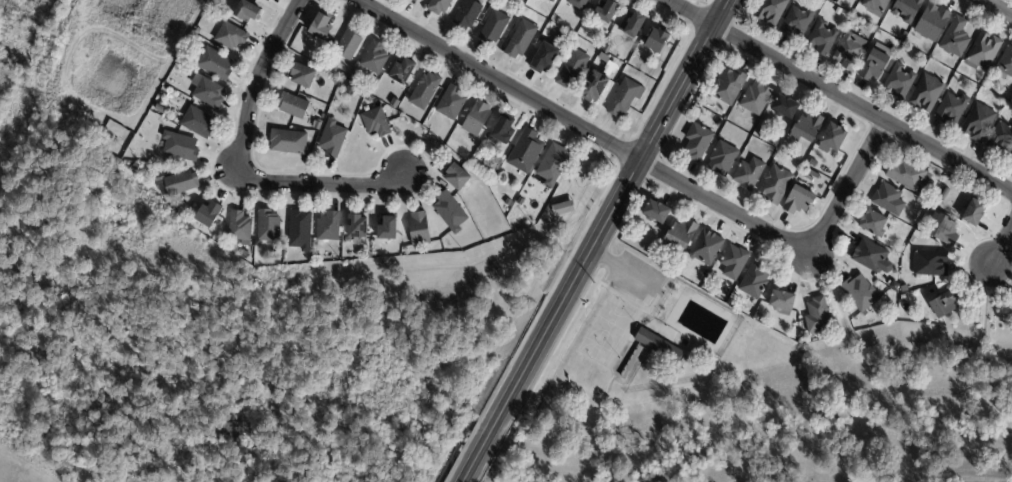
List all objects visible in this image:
building: (267, 0)
building: (551, 1)
building: (577, 3)
building: (875, 4)
building: (438, 6)
road: (997, 8)
building: (907, 9)
building: (771, 11)
building: (839, 11)
building: (247, 12)
building: (607, 12)
building: (467, 15)
building: (797, 21)
building: (854, 21)
building: (932, 23)
building: (633, 24)
building: (321, 27)
building: (493, 27)
building: (230, 36)
building: (822, 38)
building: (956, 38)
building: (521, 40)
building: (657, 40)
building: (348, 44)
building: (607, 49)
building: (850, 51)
building: (984, 52)
building: (603, 57)
building: (374, 58)
building: (544, 58)
building: (213, 63)
building: (1006, 64)
building: (874, 65)
building: (572, 68)
building: (403, 72)
building: (301, 75)
building: (343, 77)
building: (351, 81)
road: (497, 81)
building: (900, 81)
building: (729, 85)
building: (593, 87)
building: (424, 91)
building: (208, 92)
building: (927, 93)
road: (839, 97)
building: (623, 98)
building: (756, 98)
building: (167, 102)
building: (374, 102)
building: (451, 103)
building: (292, 106)
building: (784, 107)
building: (952, 108)
building: (159, 109)
building: (476, 119)
building: (197, 122)
building: (979, 122)
building: (375, 123)
building: (316, 125)
building: (807, 128)
building: (501, 131)
building: (762, 134)
building: (1001, 137)
building: (832, 138)
building: (332, 139)
building: (288, 142)
building: (697, 142)
building: (774, 144)
building: (179, 147)
building: (525, 151)
building: (722, 159)
building: (1011, 160)
building: (1011, 162)
road: (244, 164)
building: (553, 164)
building: (136, 166)
building: (749, 174)
building: (811, 174)
building: (909, 175)
building: (456, 177)
building: (178, 184)
building: (776, 185)
building: (525, 195)
building: (798, 200)
building: (889, 200)
building: (509, 203)
building: (564, 209)
building: (450, 212)
building: (656, 212)
building: (974, 213)
building: (208, 215)
road: (610, 218)
building: (873, 224)
building: (268, 227)
building: (328, 227)
building: (239, 228)
building: (357, 229)
building: (388, 229)
building: (299, 230)
building: (418, 230)
building: (945, 231)
building: (682, 234)
road: (1001, 243)
road: (792, 245)
road: (521, 247)
building: (706, 248)
building: (244, 255)
building: (870, 256)
building: (734, 262)
building: (929, 264)
road: (624, 271)
road: (364, 276)
building: (755, 282)
building: (904, 289)
building: (860, 293)
building: (782, 302)
building: (946, 304)
building: (818, 316)
building: (758, 317)
park: (610, 332)
building: (658, 346)
road: (477, 458)

